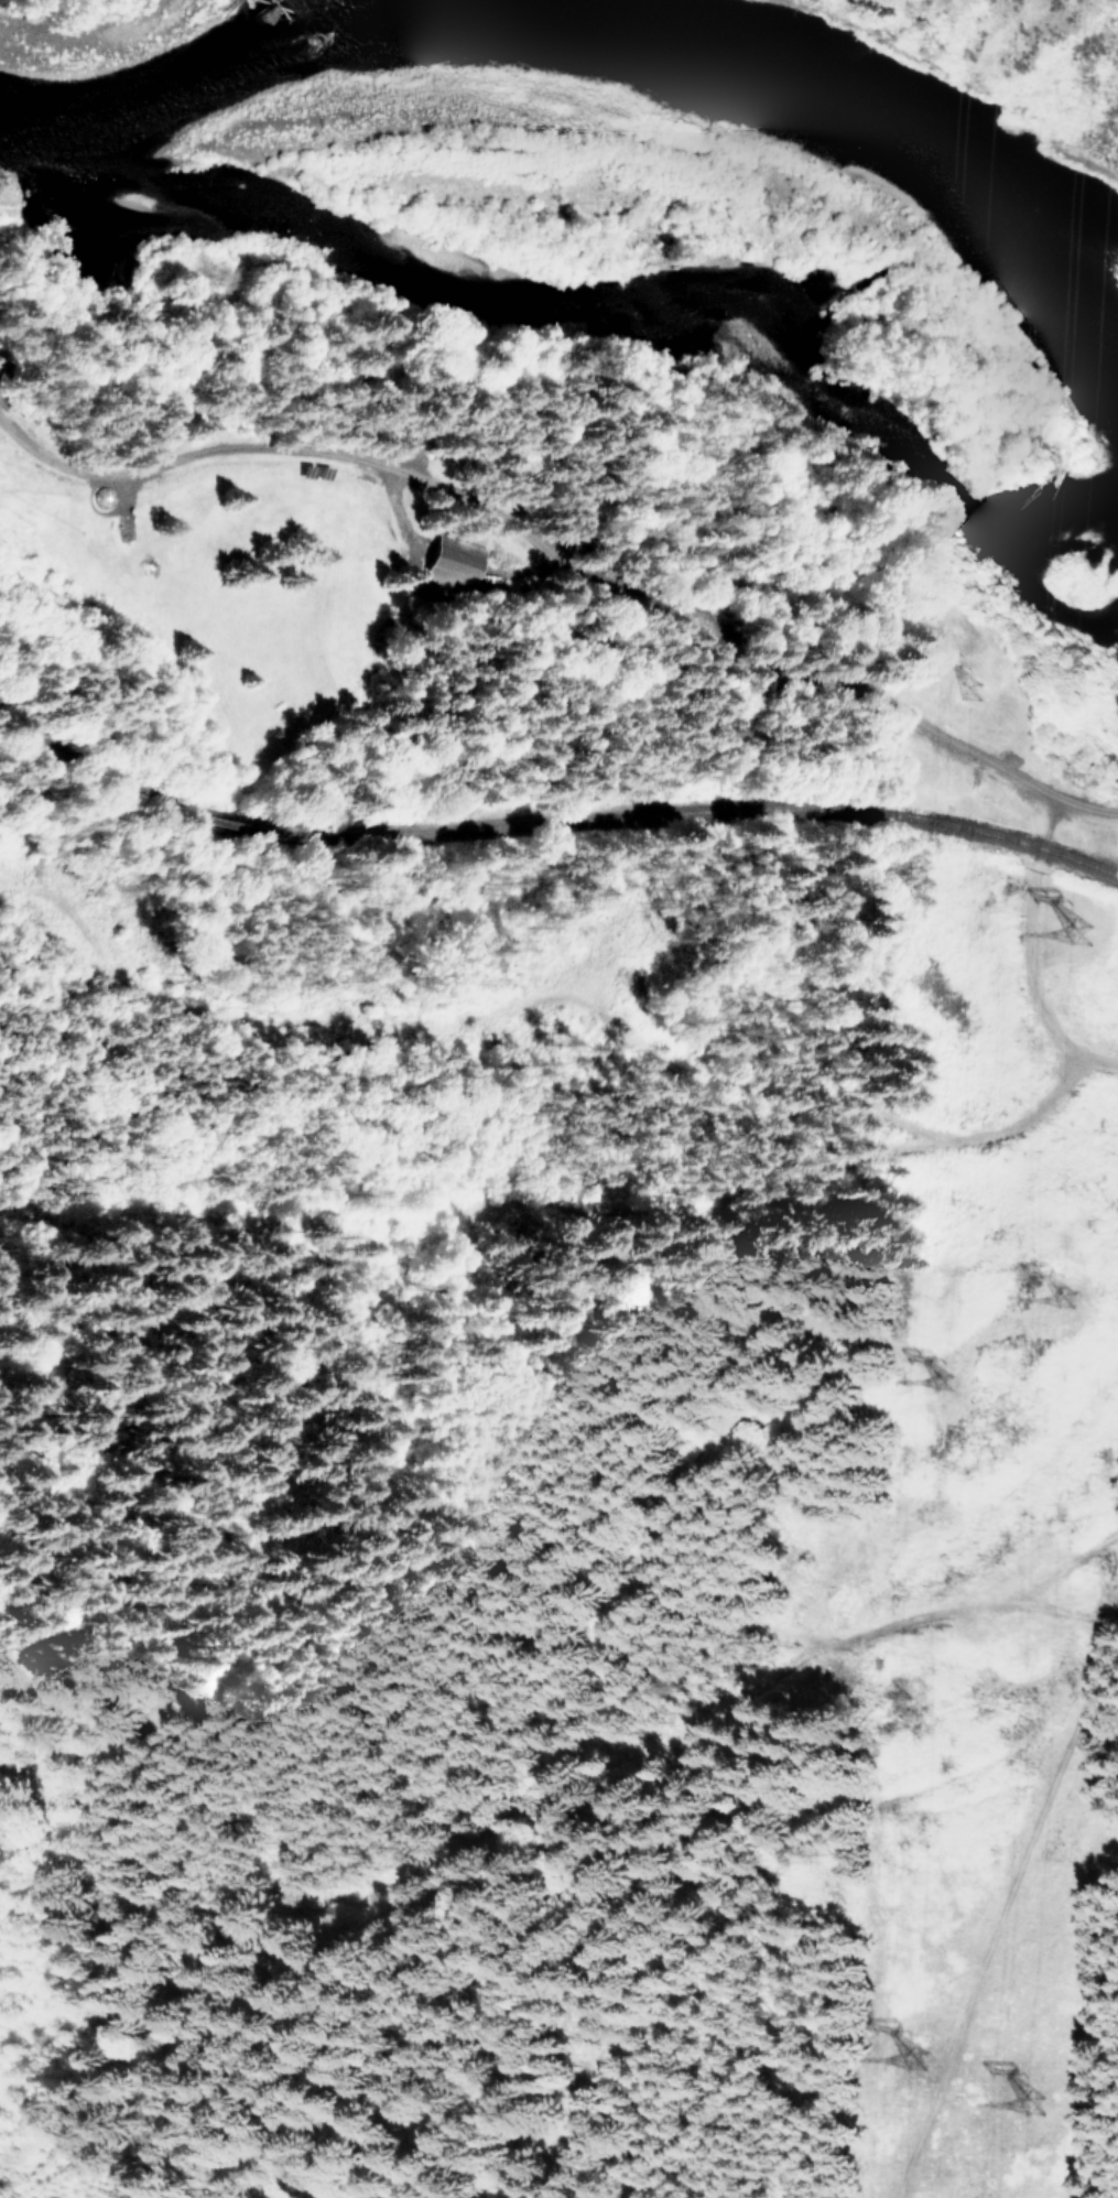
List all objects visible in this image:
river: (587, 66)
building: (455, 562)
road: (564, 571)
power tower: (983, 699)
railway: (79, 770)
railway: (712, 813)
railway: (232, 825)
power tower: (1096, 941)
road: (1029, 950)
road: (573, 1212)
power tower: (1072, 1312)
power tower: (951, 1387)
road: (1007, 1912)
power tower: (921, 2065)
power tower: (1040, 2115)

